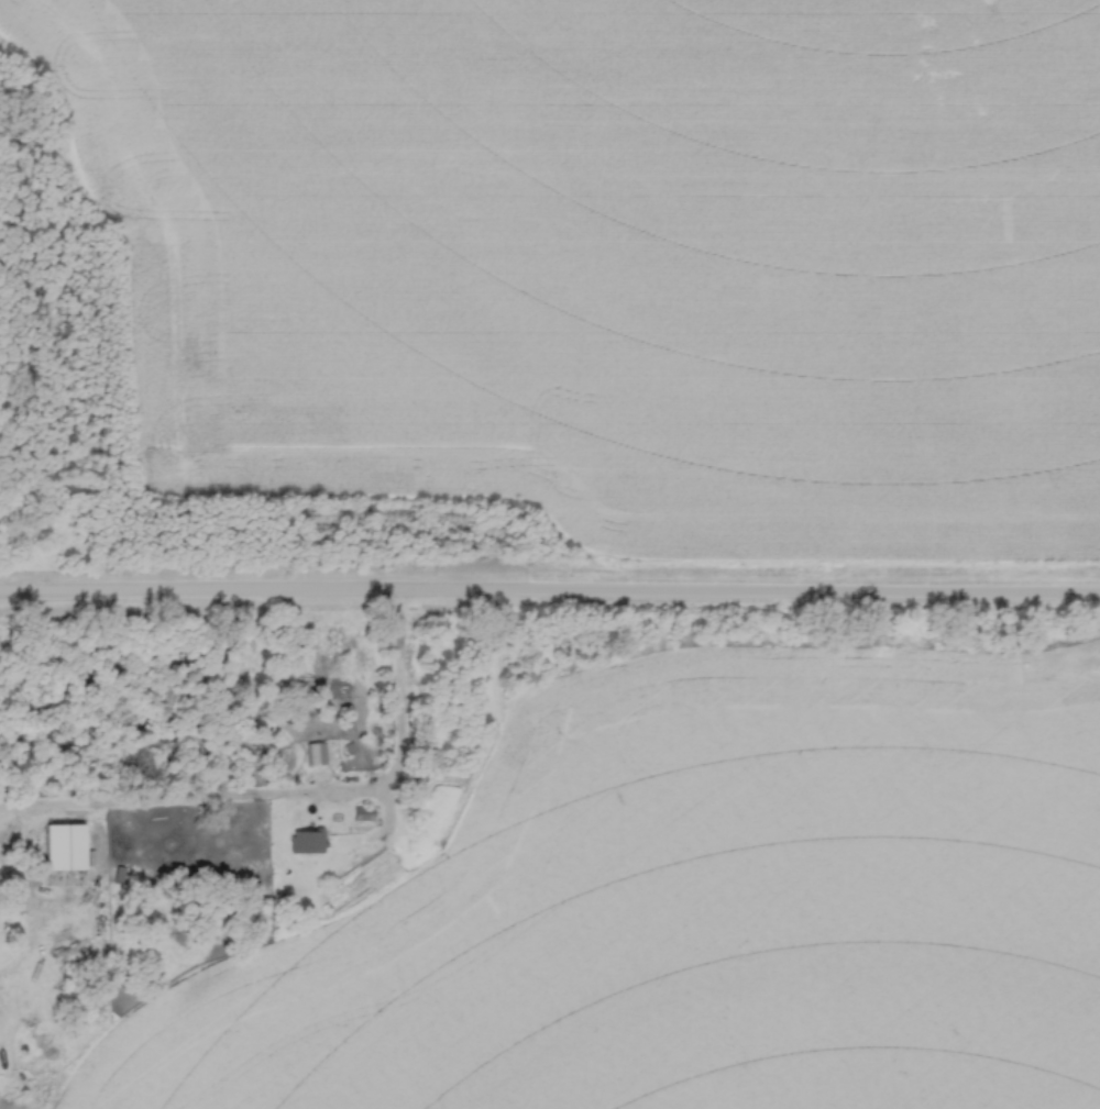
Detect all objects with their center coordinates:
road: (549, 595)
building: (319, 756)
road: (294, 800)
building: (367, 816)
building: (71, 850)

